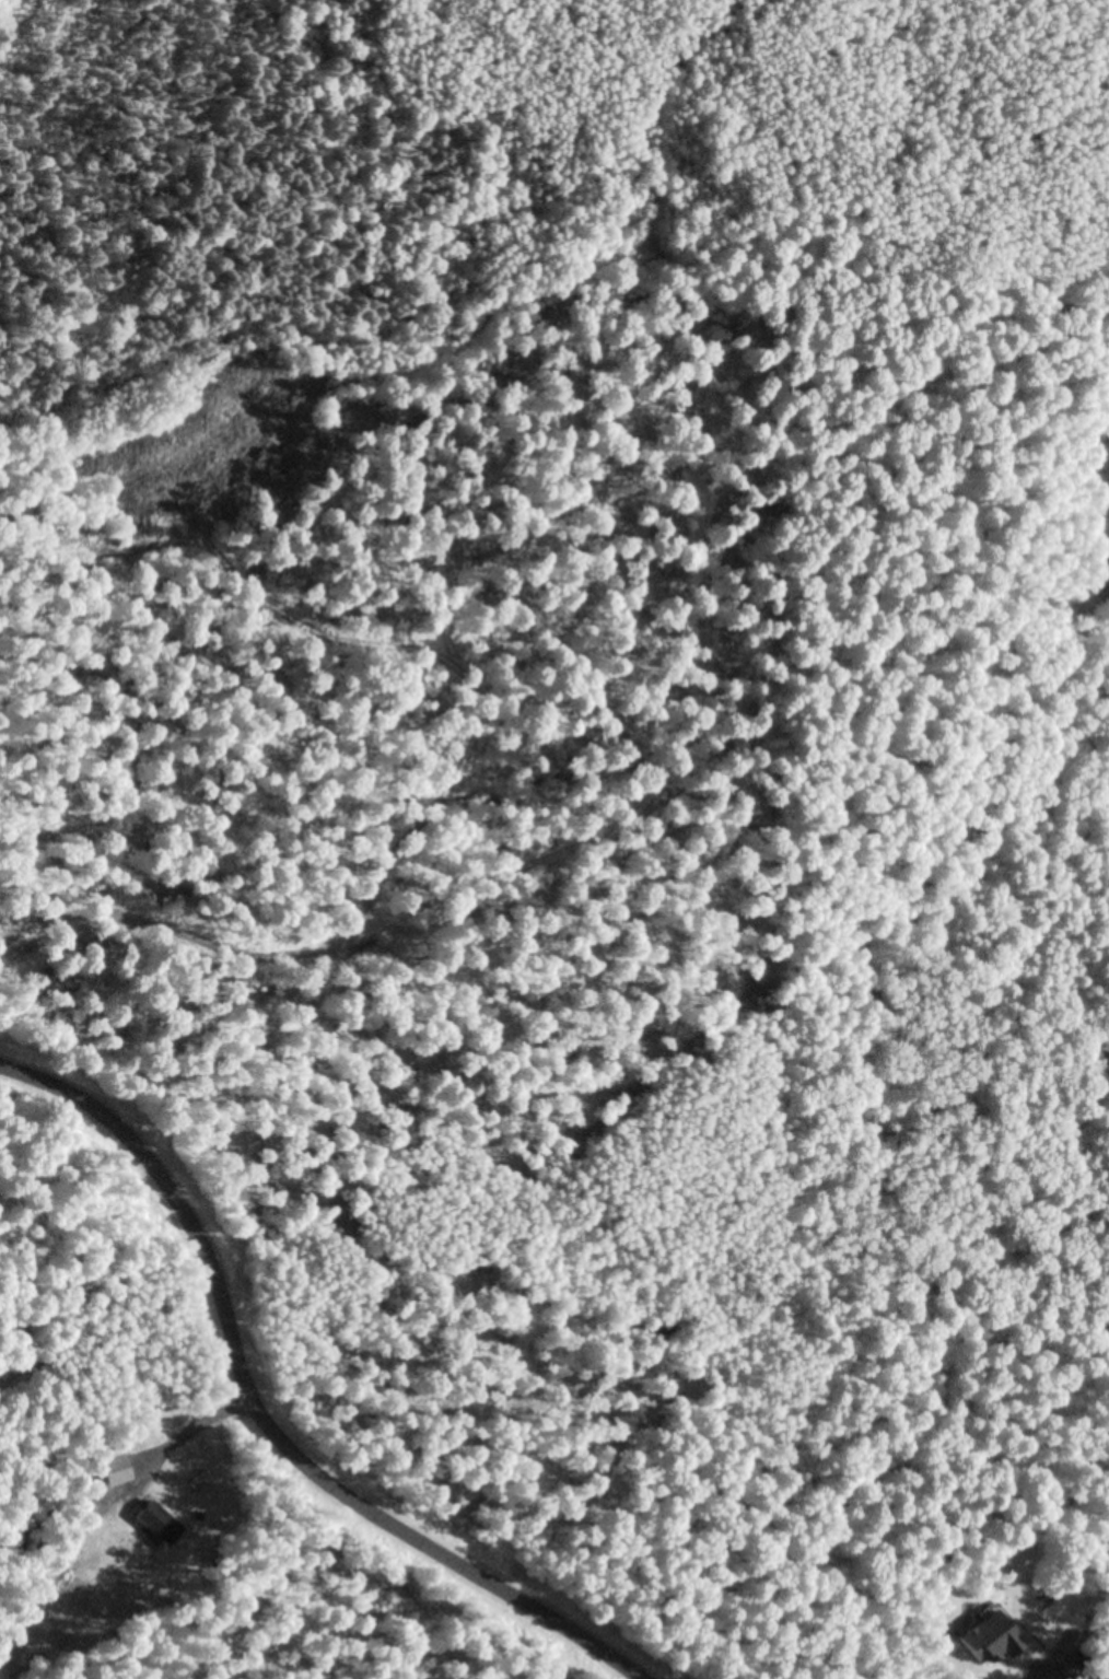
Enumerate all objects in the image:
building: (1104, 576)
road: (262, 1416)

